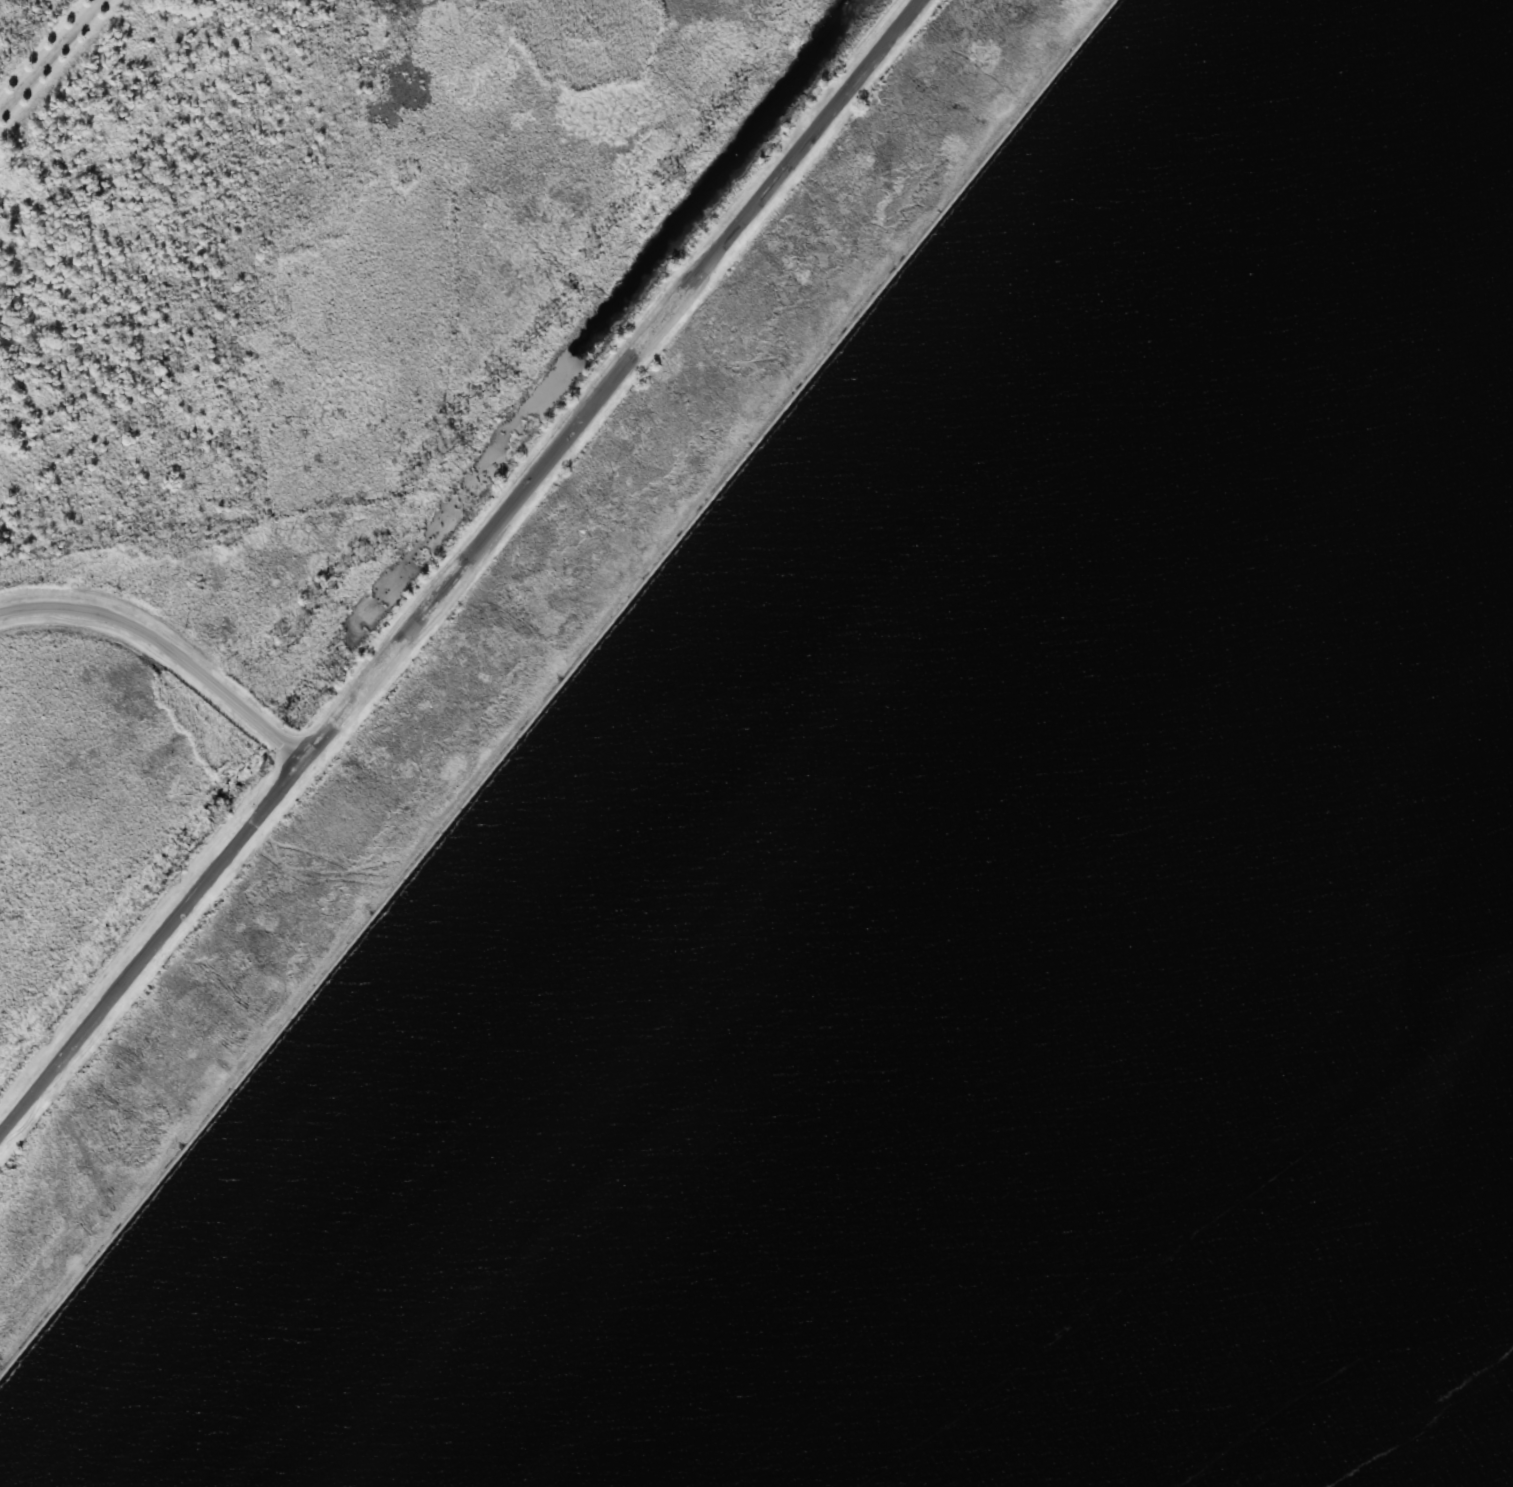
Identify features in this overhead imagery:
road: (460, 569)
road: (167, 648)

